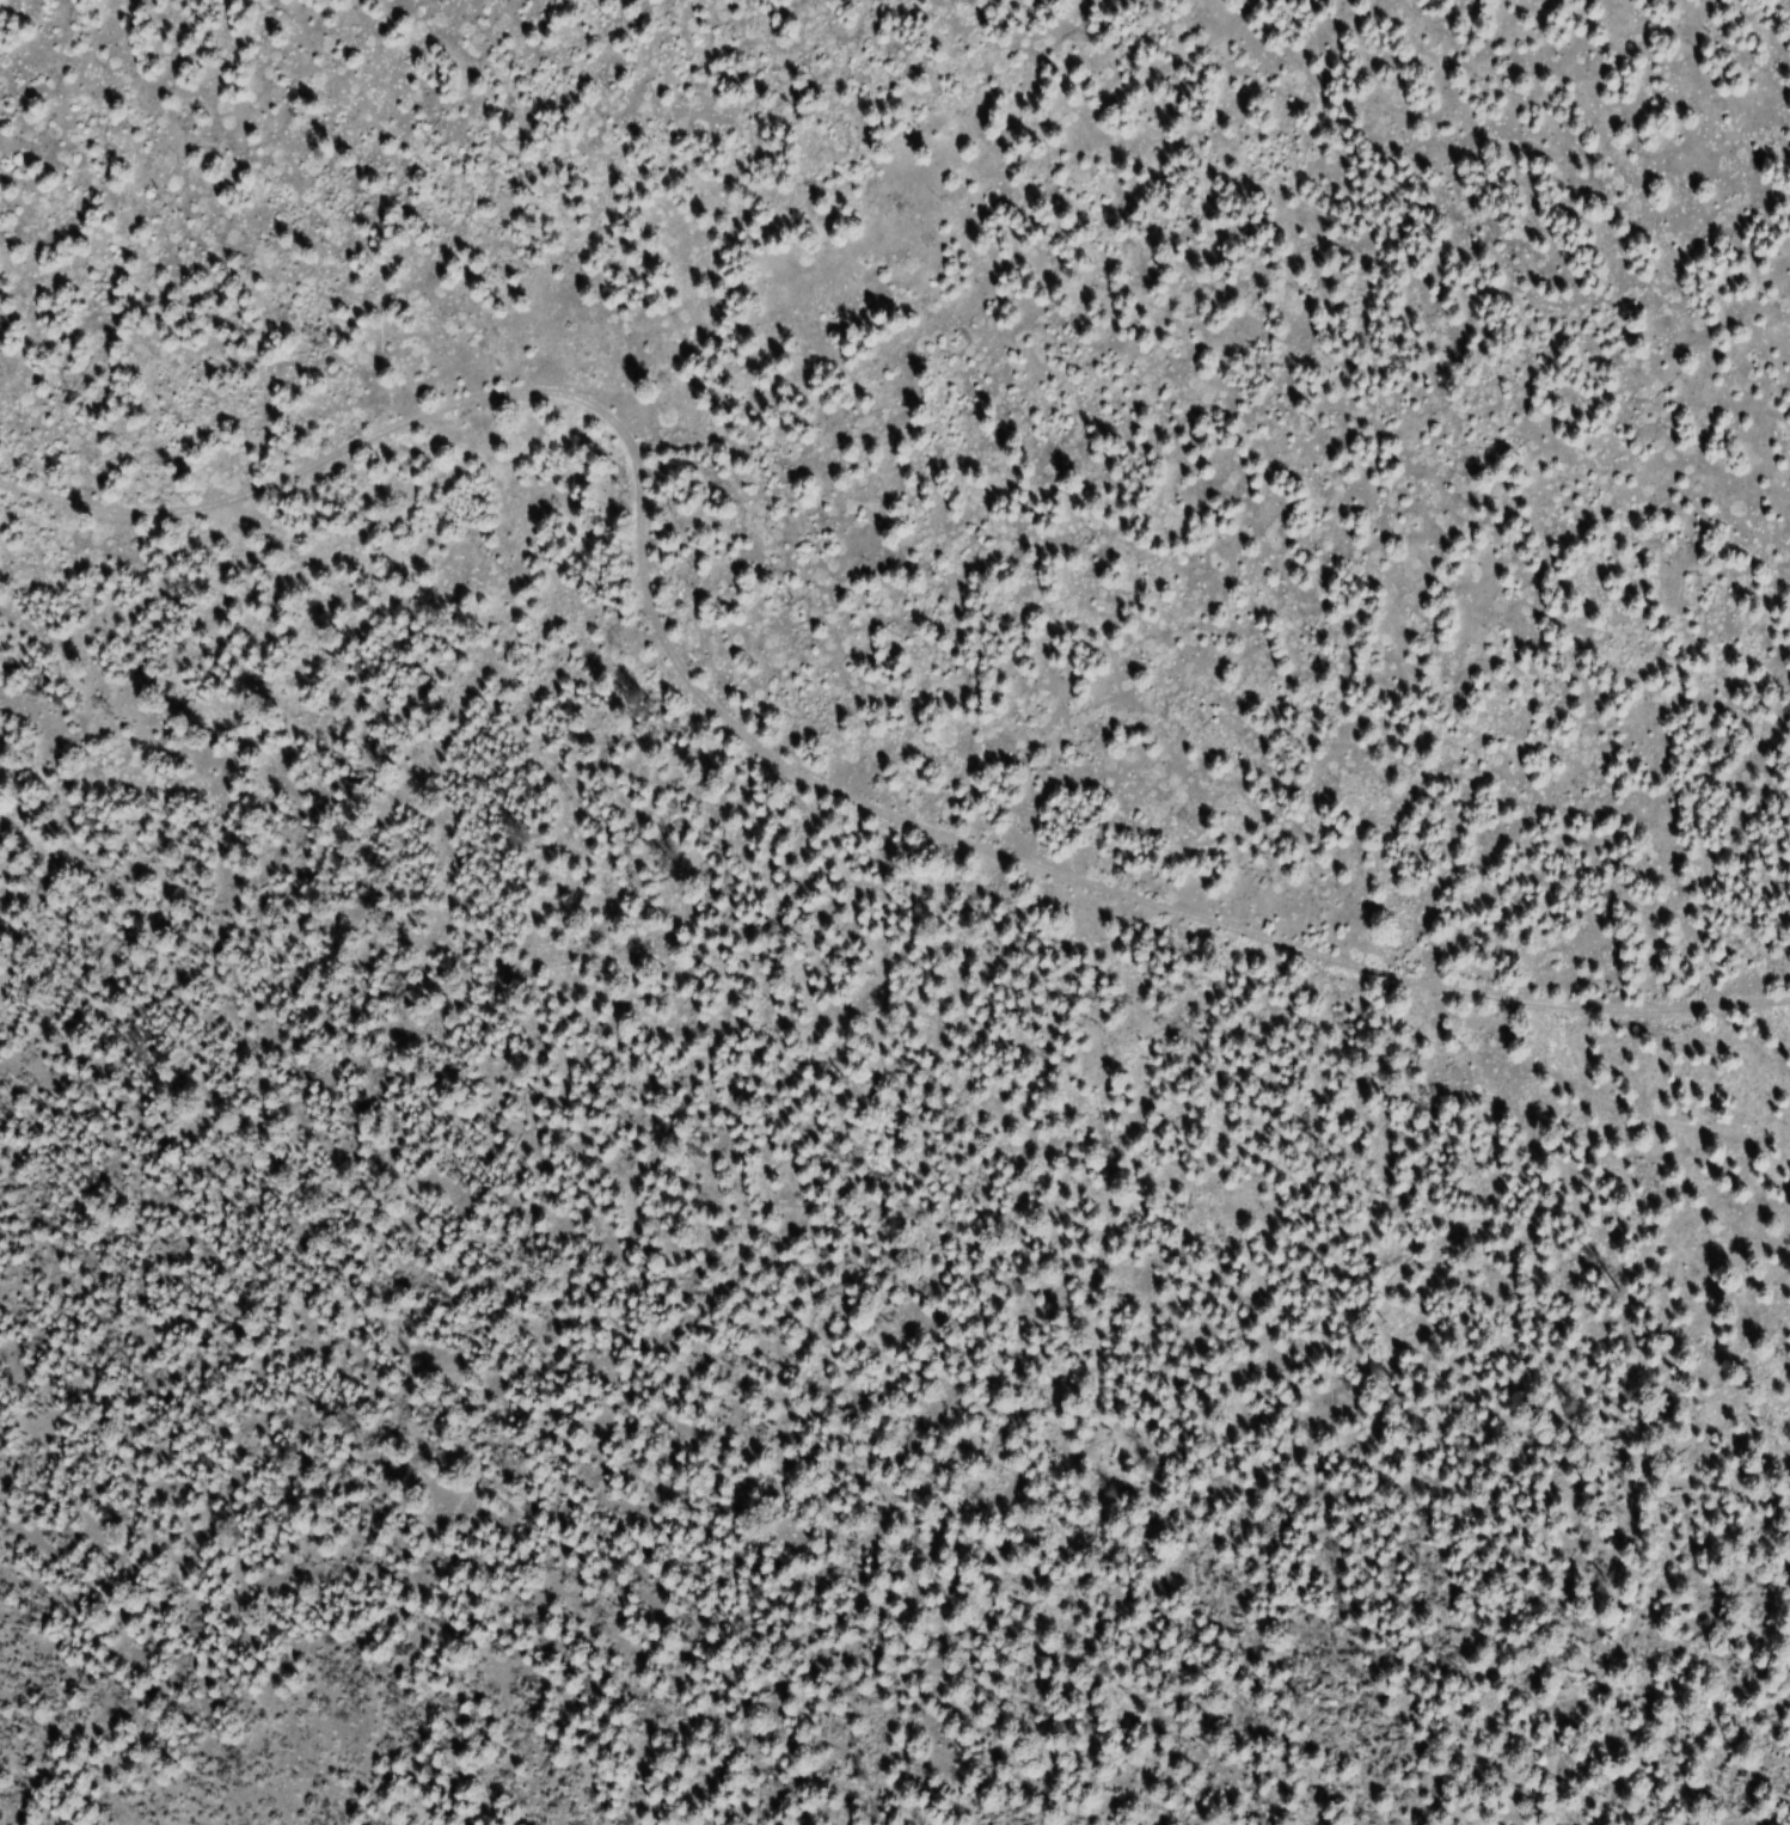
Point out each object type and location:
road: (781, 763)

